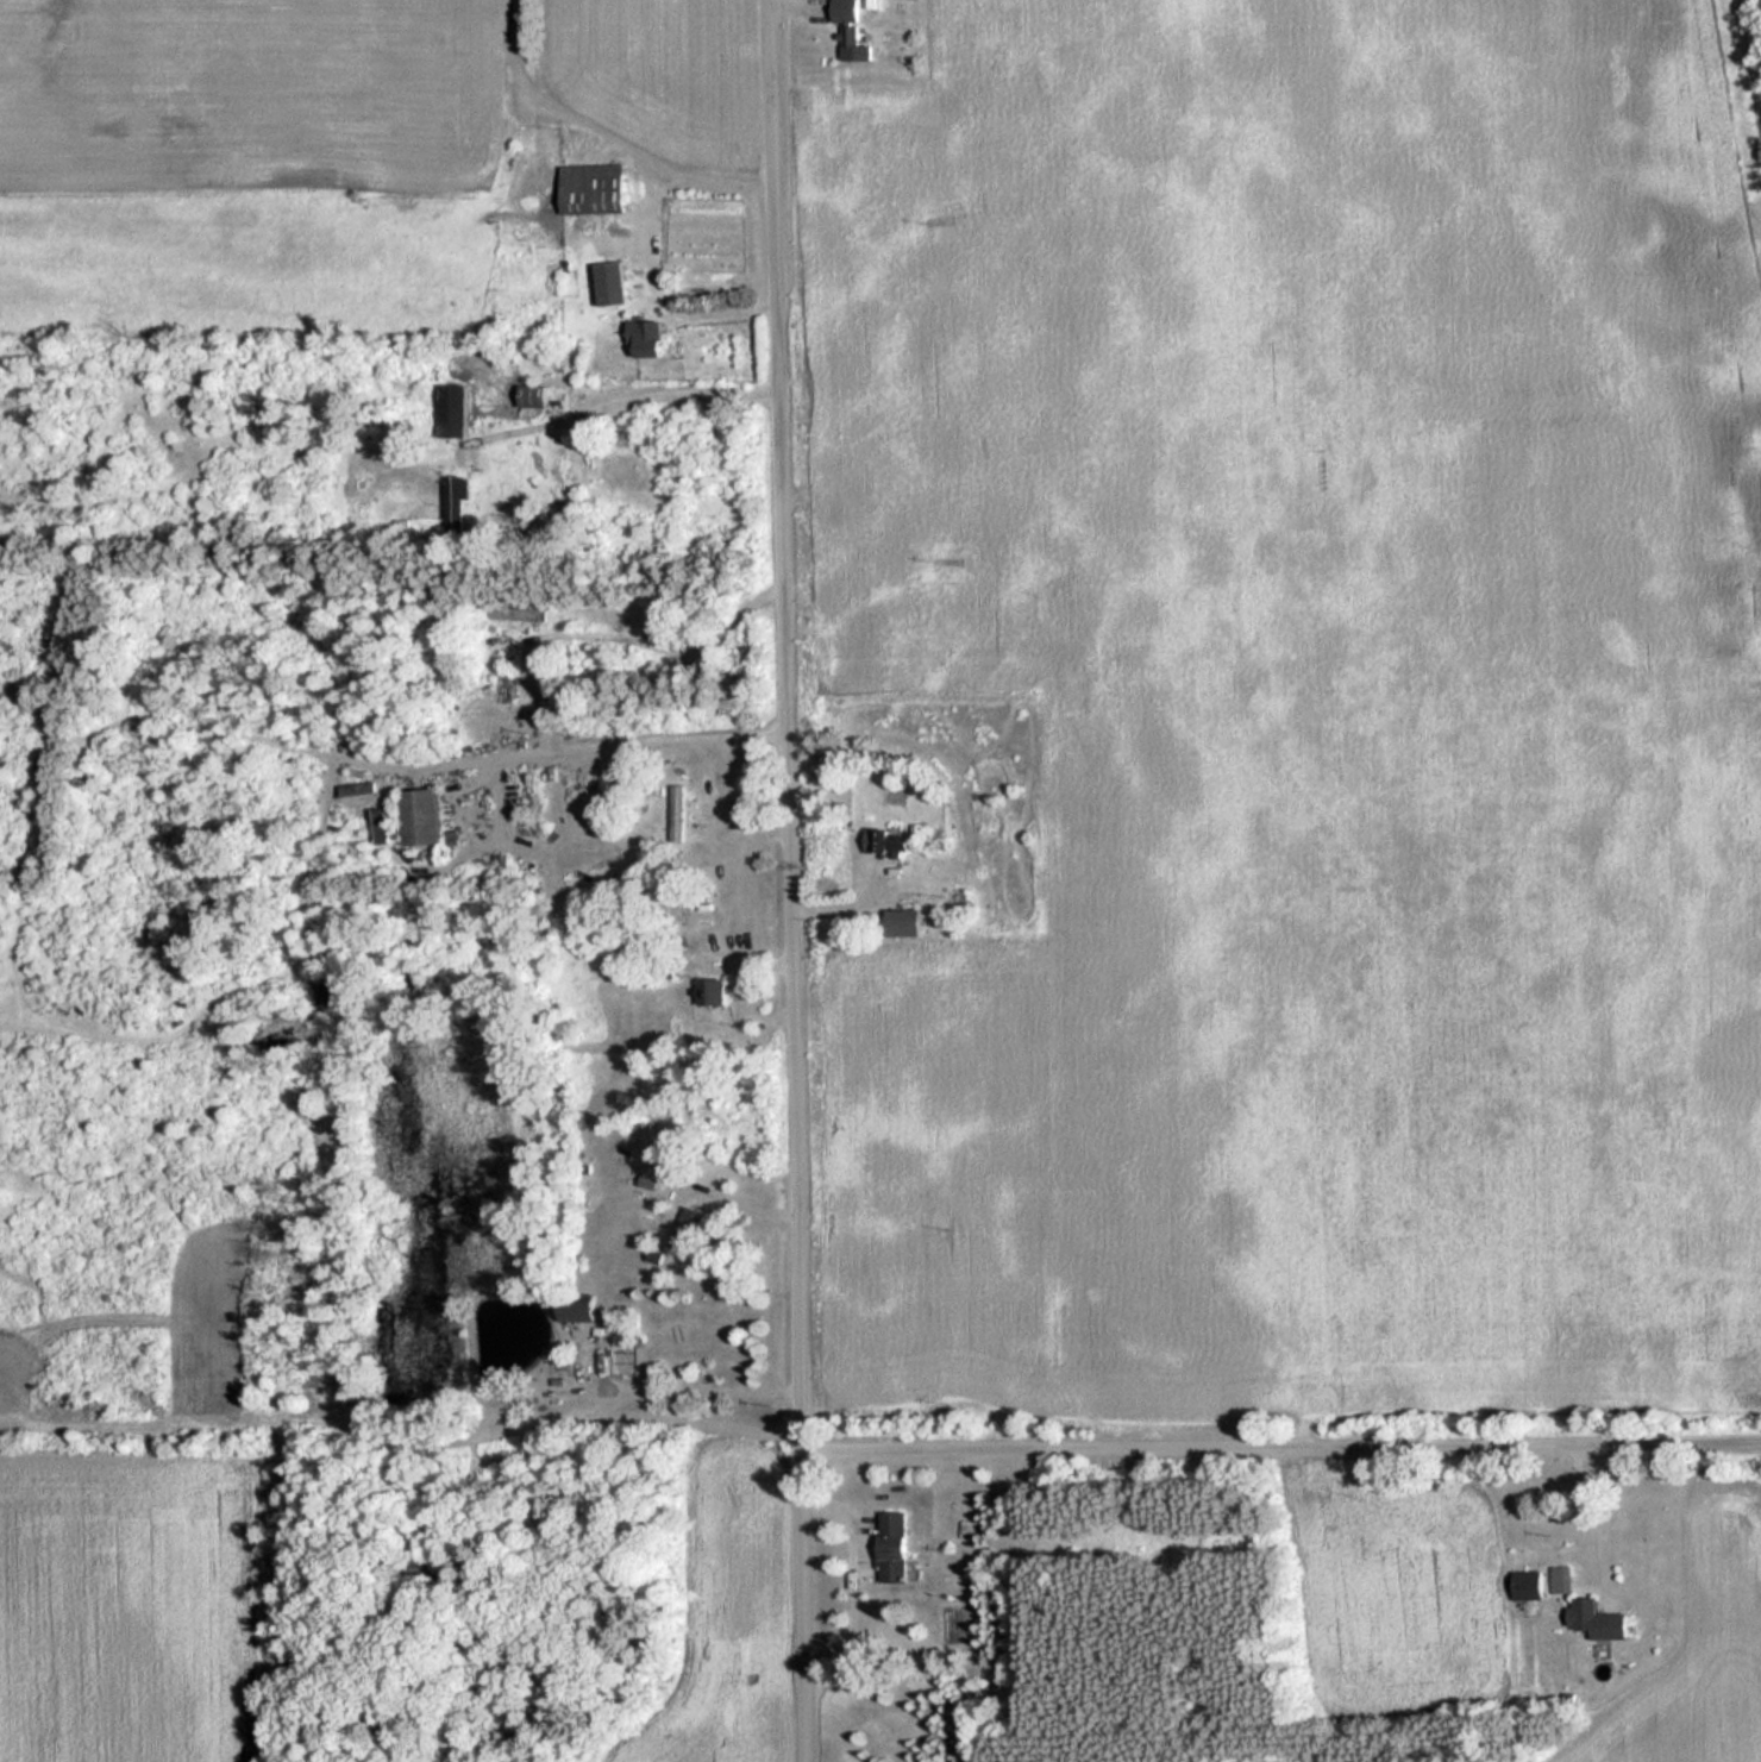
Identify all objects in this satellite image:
building: (854, 30)
building: (595, 188)
building: (614, 283)
building: (648, 338)
building: (533, 395)
building: (456, 410)
building: (458, 501)
building: (521, 613)
building: (502, 678)
building: (678, 811)
building: (425, 817)
building: (890, 842)
road: (792, 880)
building: (905, 922)
building: (715, 992)
building: (685, 1114)
building: (688, 1230)
building: (581, 1313)
road: (1283, 1453)
building: (897, 1547)
building: (1530, 1585)
building: (1599, 1619)

